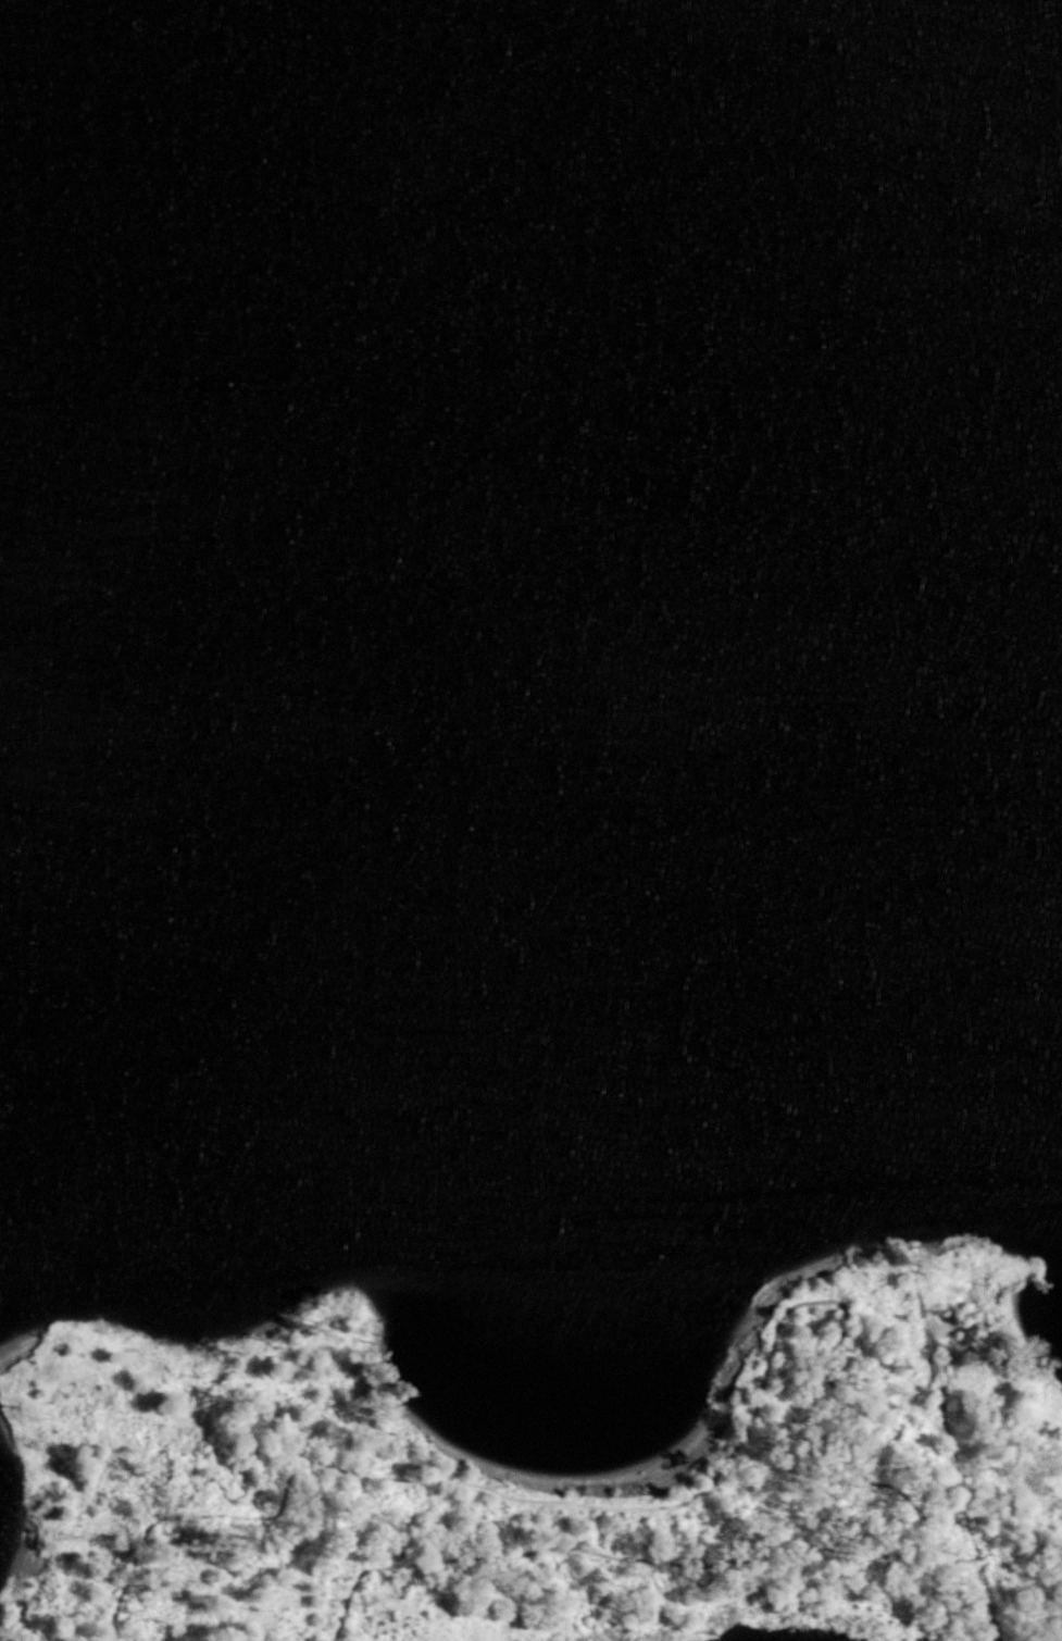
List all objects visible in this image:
river: (532, 395)
road: (850, 1069)
road: (951, 1442)
road: (672, 1502)
road: (625, 1556)
road: (878, 1605)

